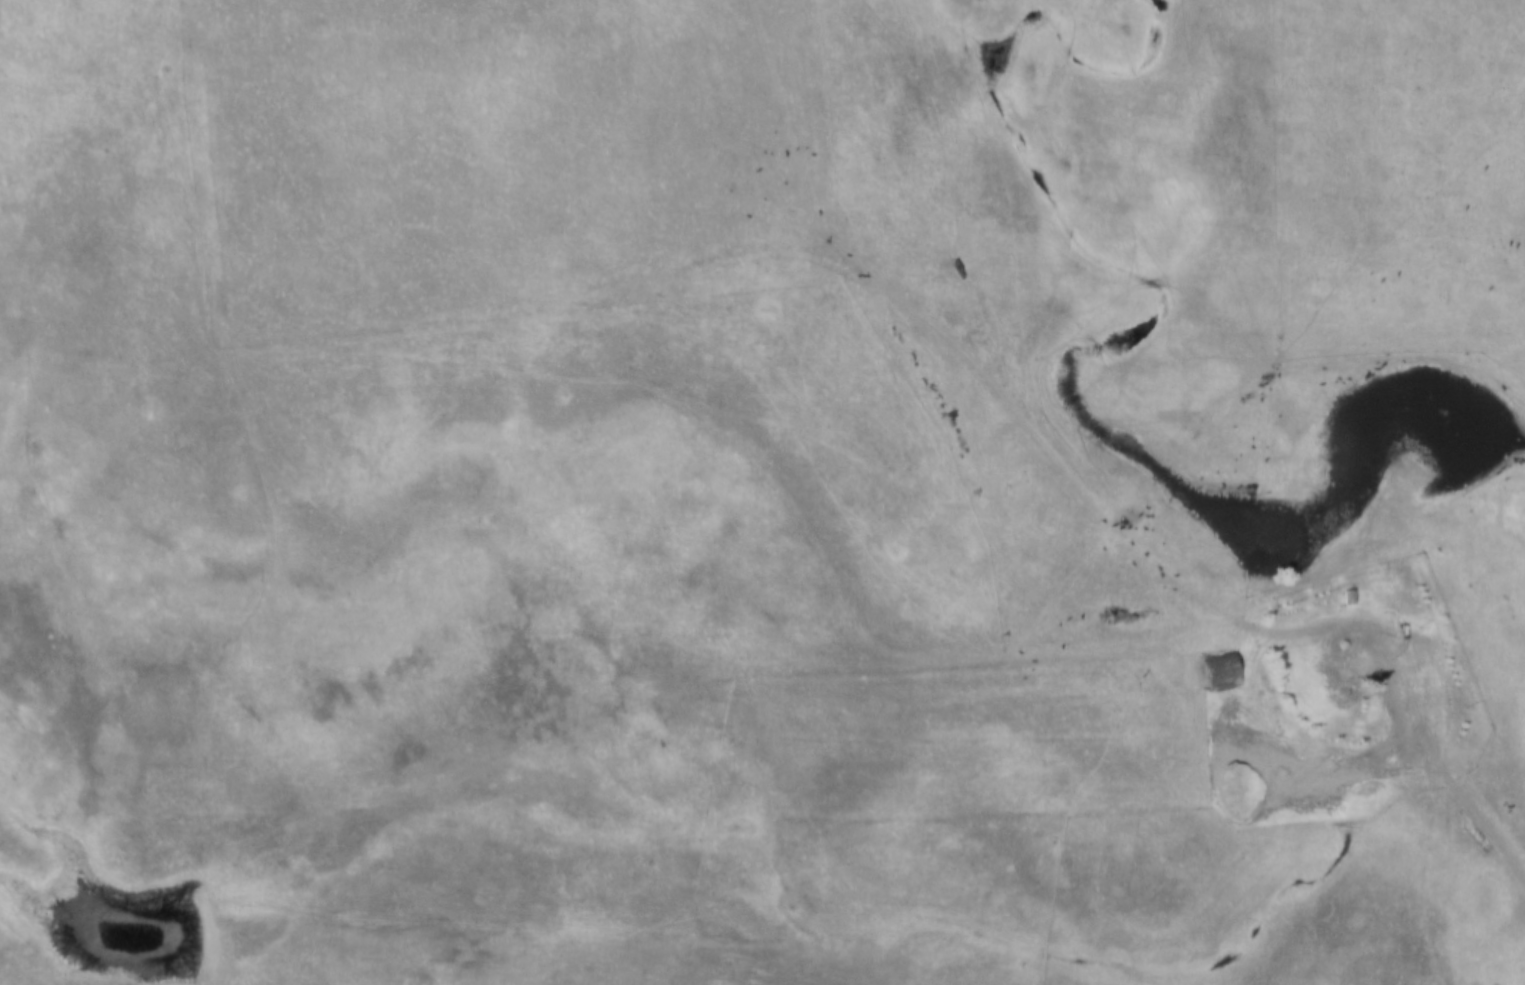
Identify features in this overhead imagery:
building: (1218, 668)
road: (1404, 713)

